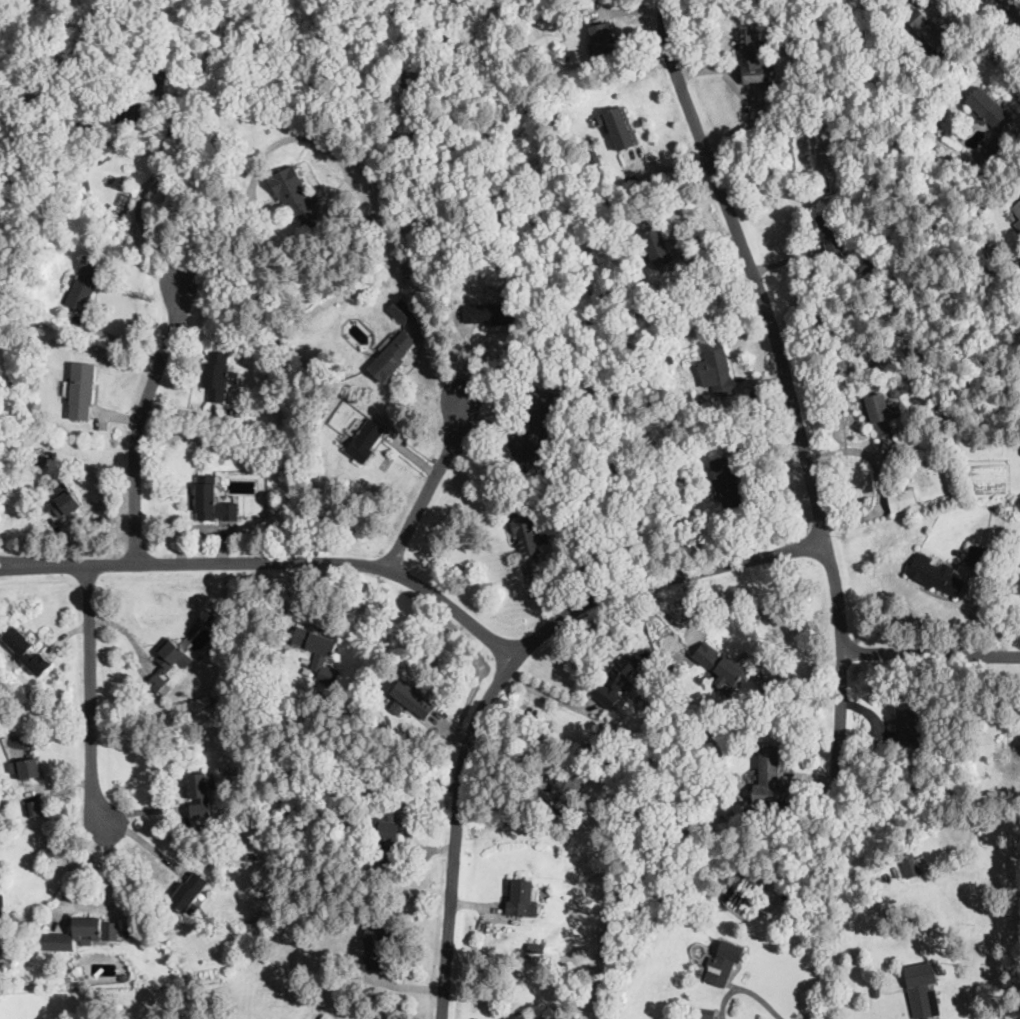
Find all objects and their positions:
road: (1011, 8)
building: (925, 28)
building: (602, 37)
building: (566, 55)
building: (754, 58)
building: (159, 72)
building: (904, 79)
building: (402, 84)
building: (413, 94)
building: (142, 107)
building: (988, 109)
building: (95, 115)
building: (620, 127)
building: (994, 149)
building: (596, 158)
building: (950, 161)
road: (254, 176)
building: (296, 197)
building: (995, 205)
building: (1017, 209)
building: (1012, 215)
building: (35, 219)
road: (139, 219)
building: (1017, 226)
building: (831, 232)
building: (446, 244)
building: (658, 247)
building: (868, 263)
building: (1017, 264)
road: (753, 269)
building: (872, 282)
building: (86, 283)
building: (651, 309)
building: (403, 312)
building: (489, 314)
building: (911, 345)
building: (393, 356)
building: (670, 360)
building: (717, 368)
building: (218, 376)
building: (82, 390)
building: (690, 402)
building: (230, 412)
building: (882, 412)
building: (542, 419)
road: (142, 425)
building: (365, 441)
building: (37, 456)
building: (285, 467)
building: (565, 467)
building: (730, 483)
road: (431, 489)
building: (547, 491)
building: (902, 501)
building: (64, 502)
building: (213, 502)
building: (531, 537)
building: (977, 556)
road: (273, 564)
building: (935, 575)
building: (1017, 584)
building: (219, 618)
building: (317, 646)
building: (27, 651)
road: (932, 656)
building: (169, 664)
building: (722, 666)
road: (844, 671)
road: (507, 674)
building: (330, 677)
building: (262, 678)
building: (616, 680)
building: (677, 692)
road: (91, 697)
building: (414, 700)
building: (0, 720)
building: (314, 721)
building: (907, 728)
building: (27, 767)
building: (770, 777)
building: (560, 793)
building: (200, 795)
building: (35, 808)
building: (752, 817)
building: (764, 818)
building: (389, 826)
building: (318, 846)
building: (253, 857)
building: (912, 869)
building: (190, 893)
building: (522, 900)
road: (84, 907)
building: (2, 920)
building: (127, 934)
building: (82, 935)
building: (379, 945)
building: (722, 962)
building: (124, 978)
building: (24, 982)
road: (745, 988)
building: (876, 992)
building: (921, 992)
building: (706, 1013)
building: (518, 1016)
building: (326, 1017)
building: (946, 1017)

